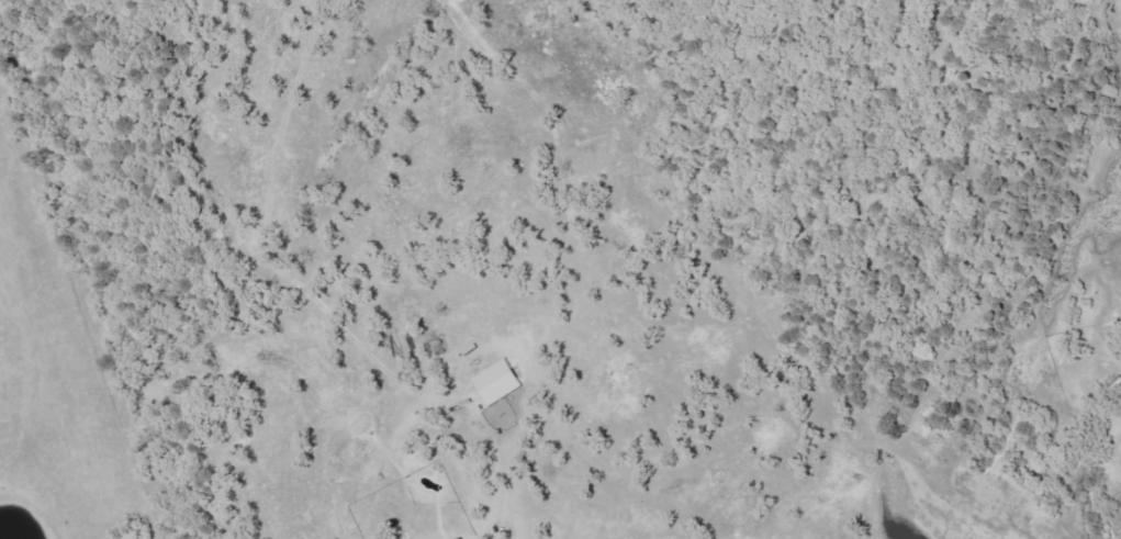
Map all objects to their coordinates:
building: (500, 381)
building: (463, 538)

